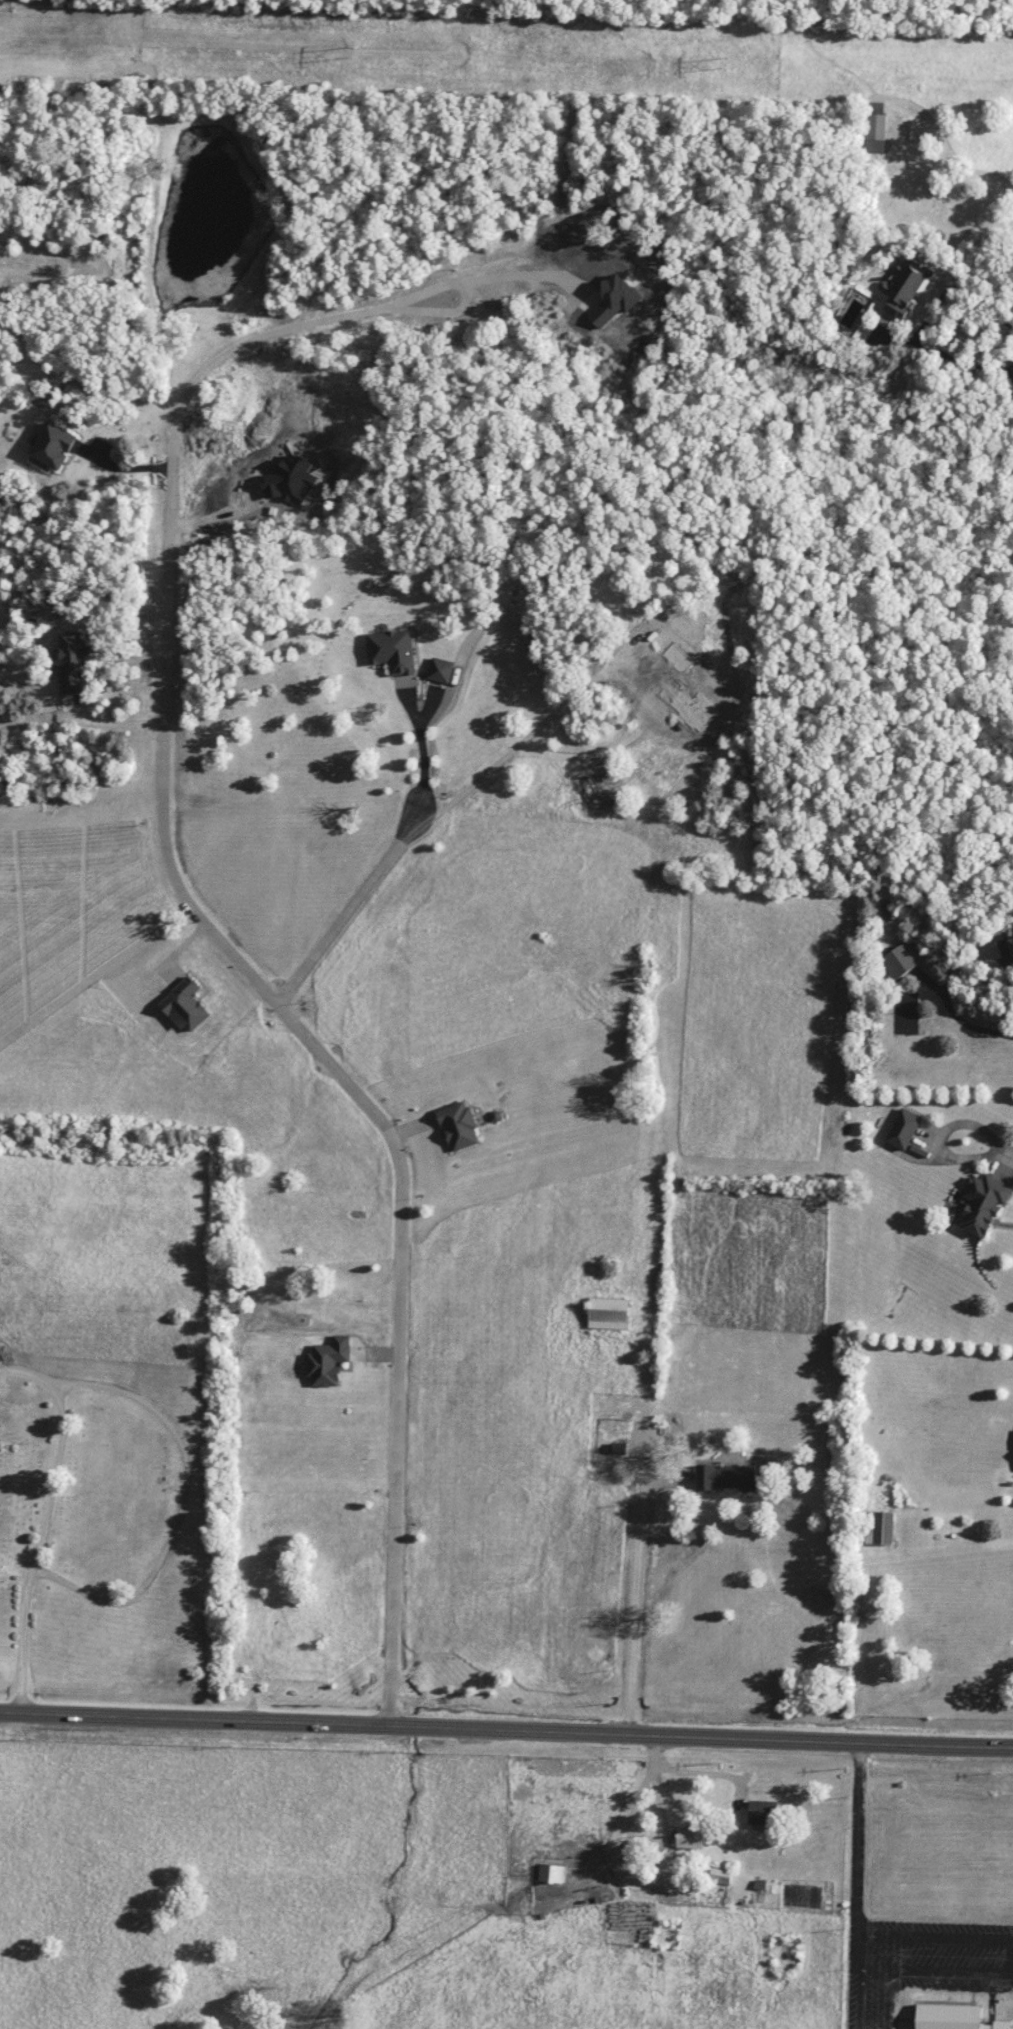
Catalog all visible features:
building: (882, 125)
building: (914, 285)
road: (948, 350)
building: (59, 444)
road: (122, 461)
building: (398, 649)
building: (444, 669)
road: (422, 745)
road: (182, 892)
road: (352, 908)
road: (1008, 956)
building: (902, 962)
road: (964, 1006)
building: (463, 1125)
building: (907, 1128)
road: (950, 1128)
road: (1007, 1149)
building: (988, 1206)
building: (616, 1313)
building: (330, 1364)
building: (733, 1477)
building: (884, 1528)
road: (634, 1604)
road: (506, 1726)
road: (696, 1764)
building: (767, 1812)
road: (632, 1835)
road: (855, 1835)
building: (694, 1837)
building: (554, 1874)
building: (725, 1876)
building: (956, 2017)

